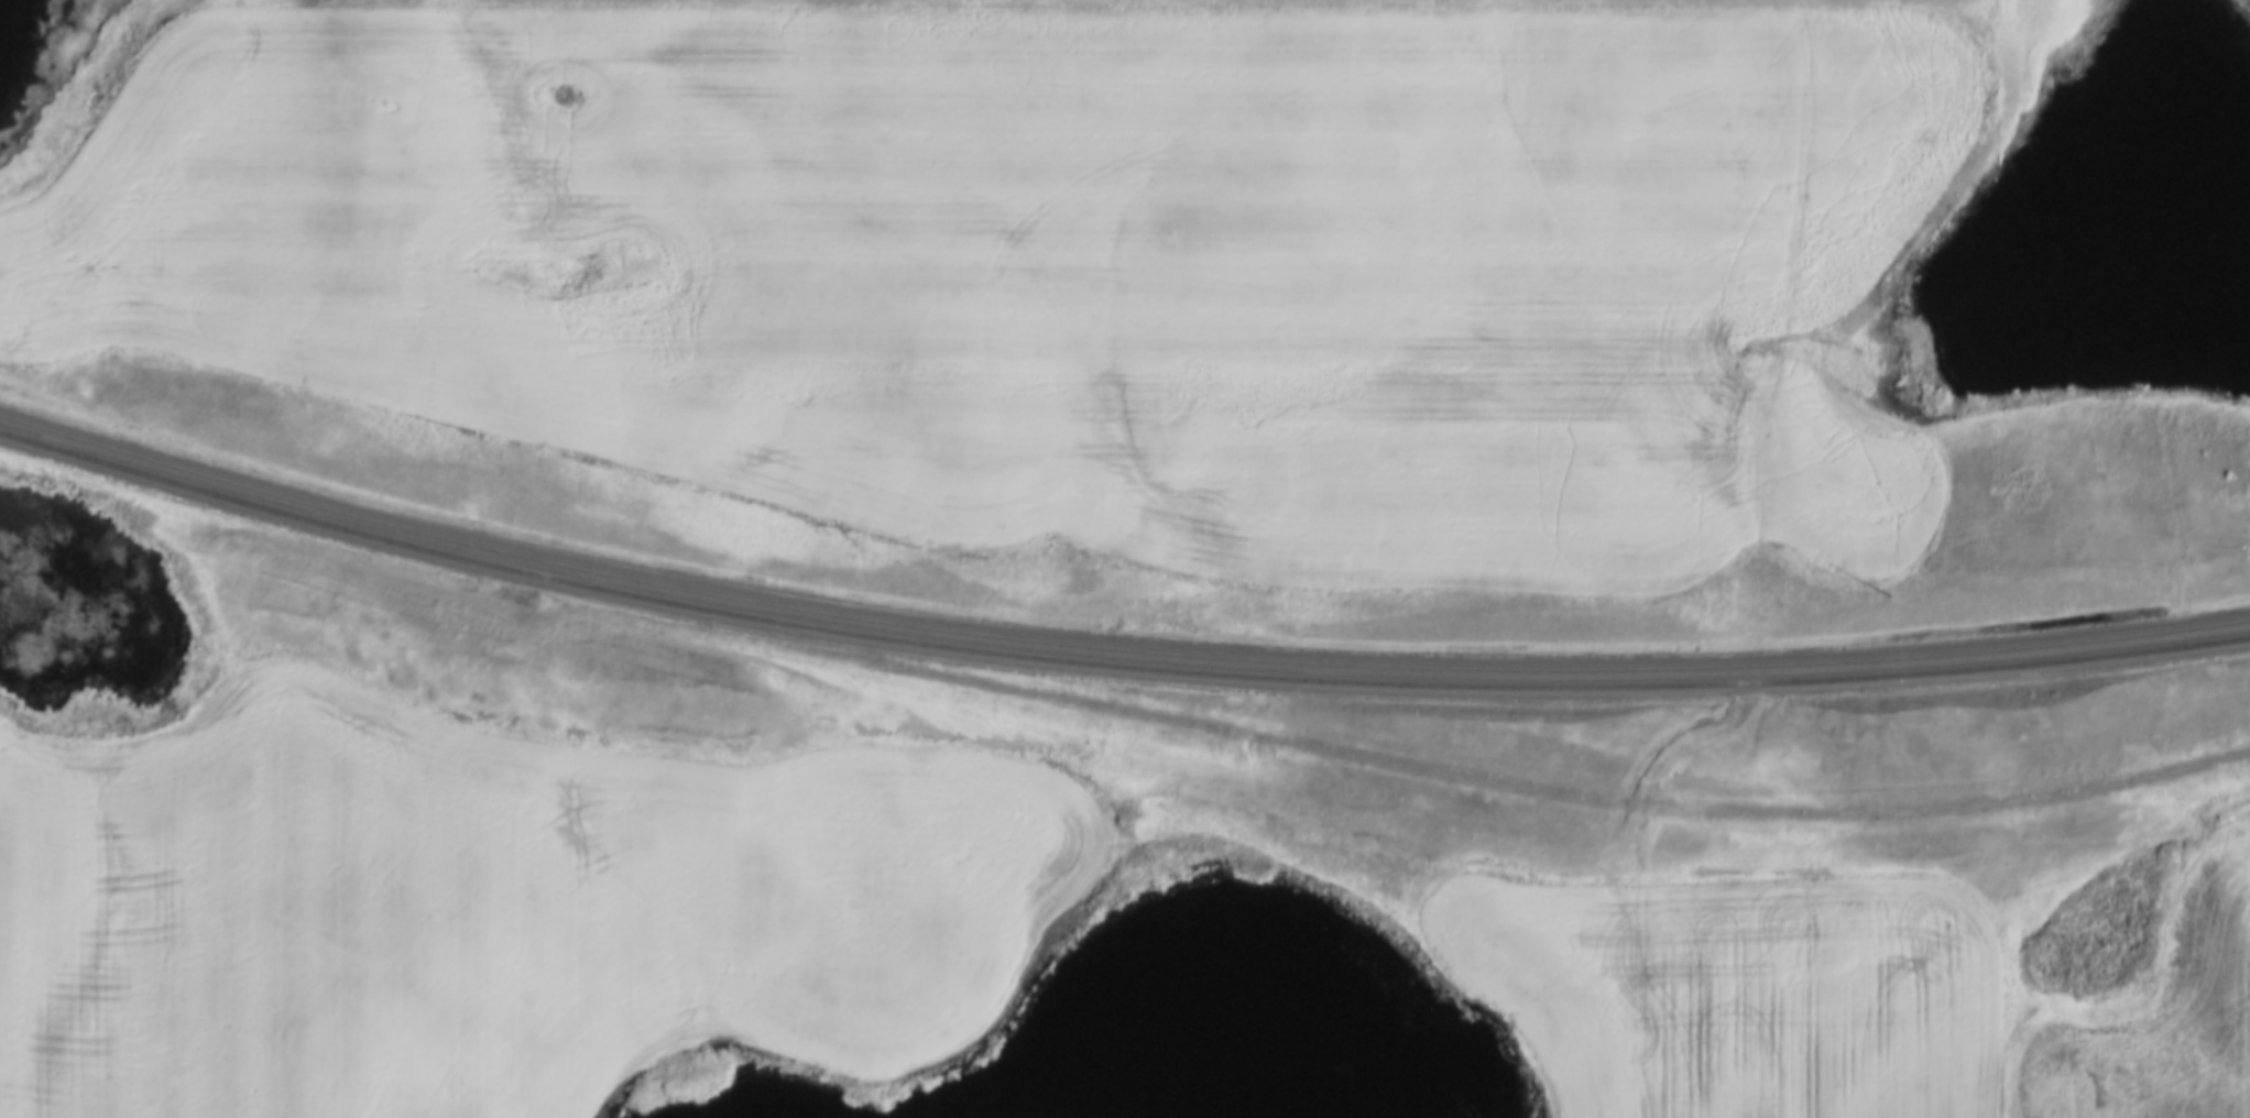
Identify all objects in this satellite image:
road: (1837, 314)
railway: (1112, 650)
railway: (1113, 665)

